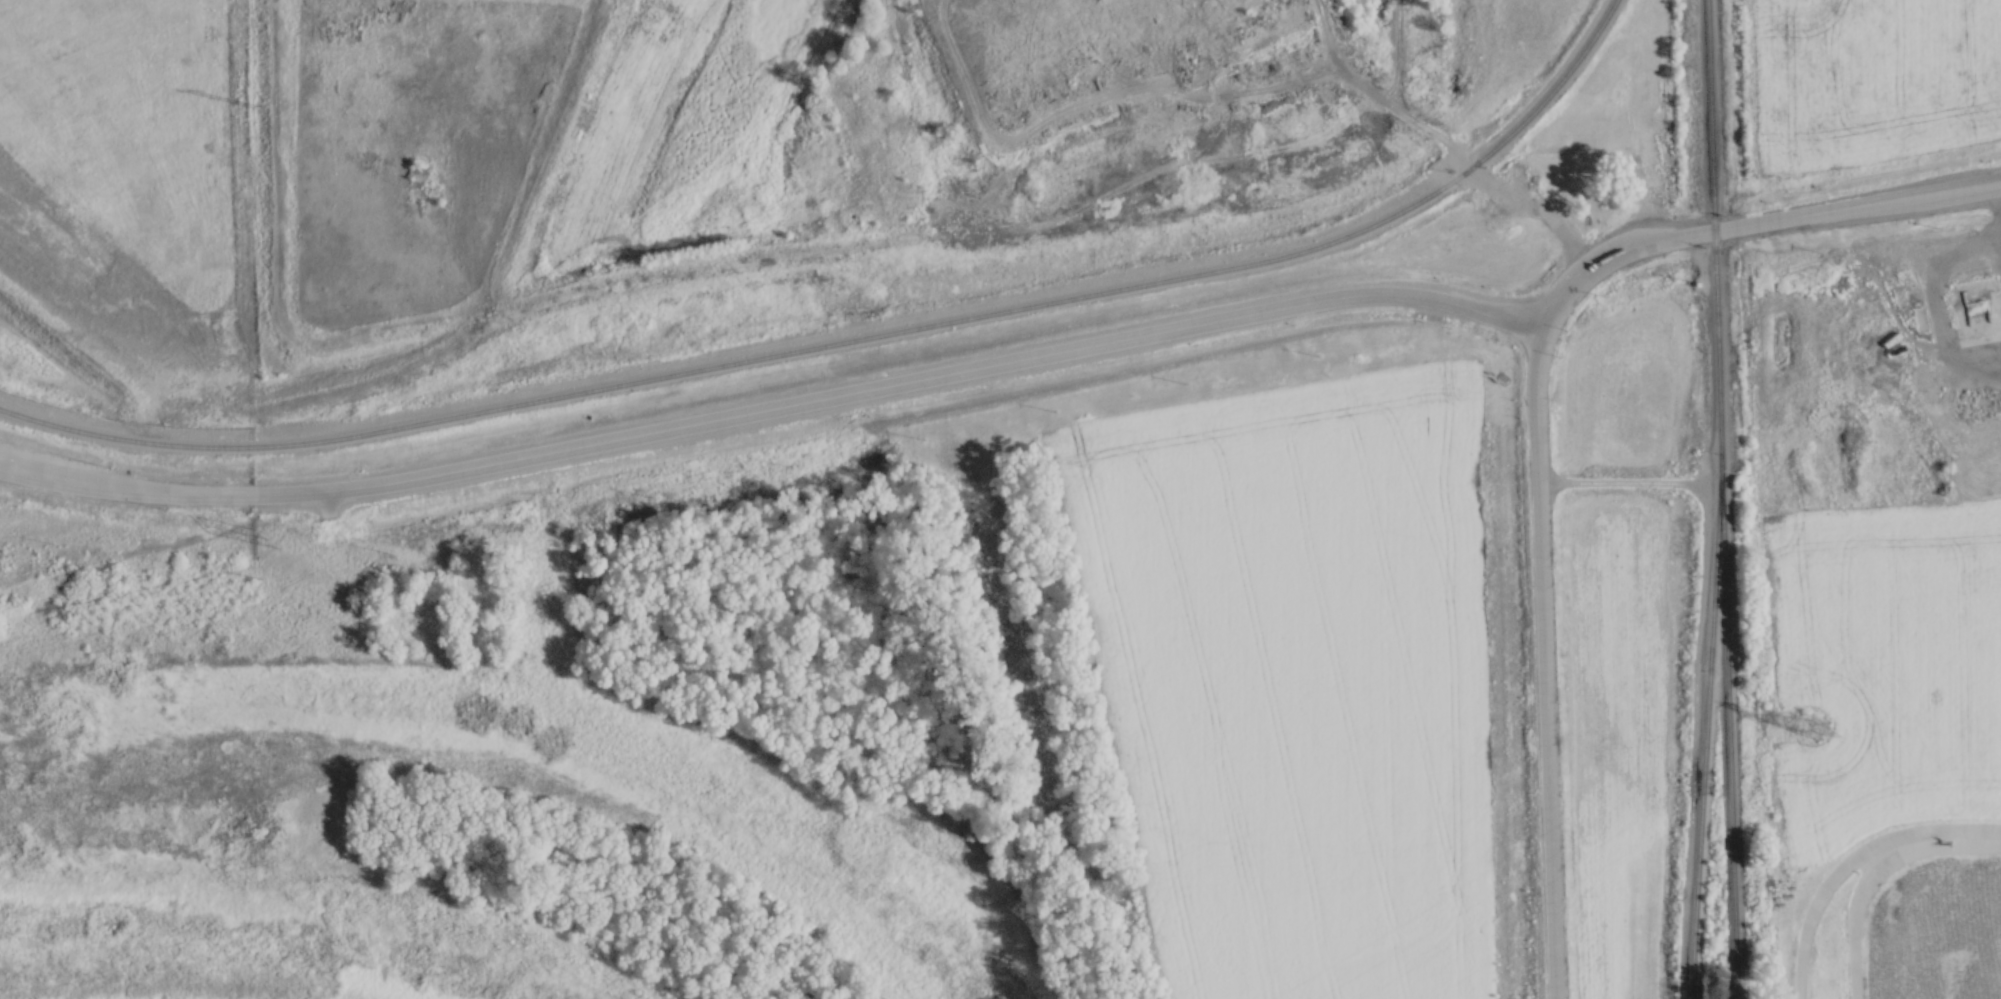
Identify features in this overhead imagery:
building: (1545, 38)
power tower: (269, 102)
building: (1573, 150)
road: (1457, 153)
building: (1570, 177)
road: (1961, 186)
road: (1641, 198)
road: (1716, 228)
railway: (1716, 238)
road: (1906, 302)
building: (1974, 305)
railway: (854, 338)
road: (909, 380)
road: (133, 486)
power tower: (277, 536)
road: (1541, 662)
power tower: (1817, 723)
railway: (1702, 738)
railway: (1727, 738)
road: (1957, 839)
road: (1824, 895)
road: (1855, 908)

